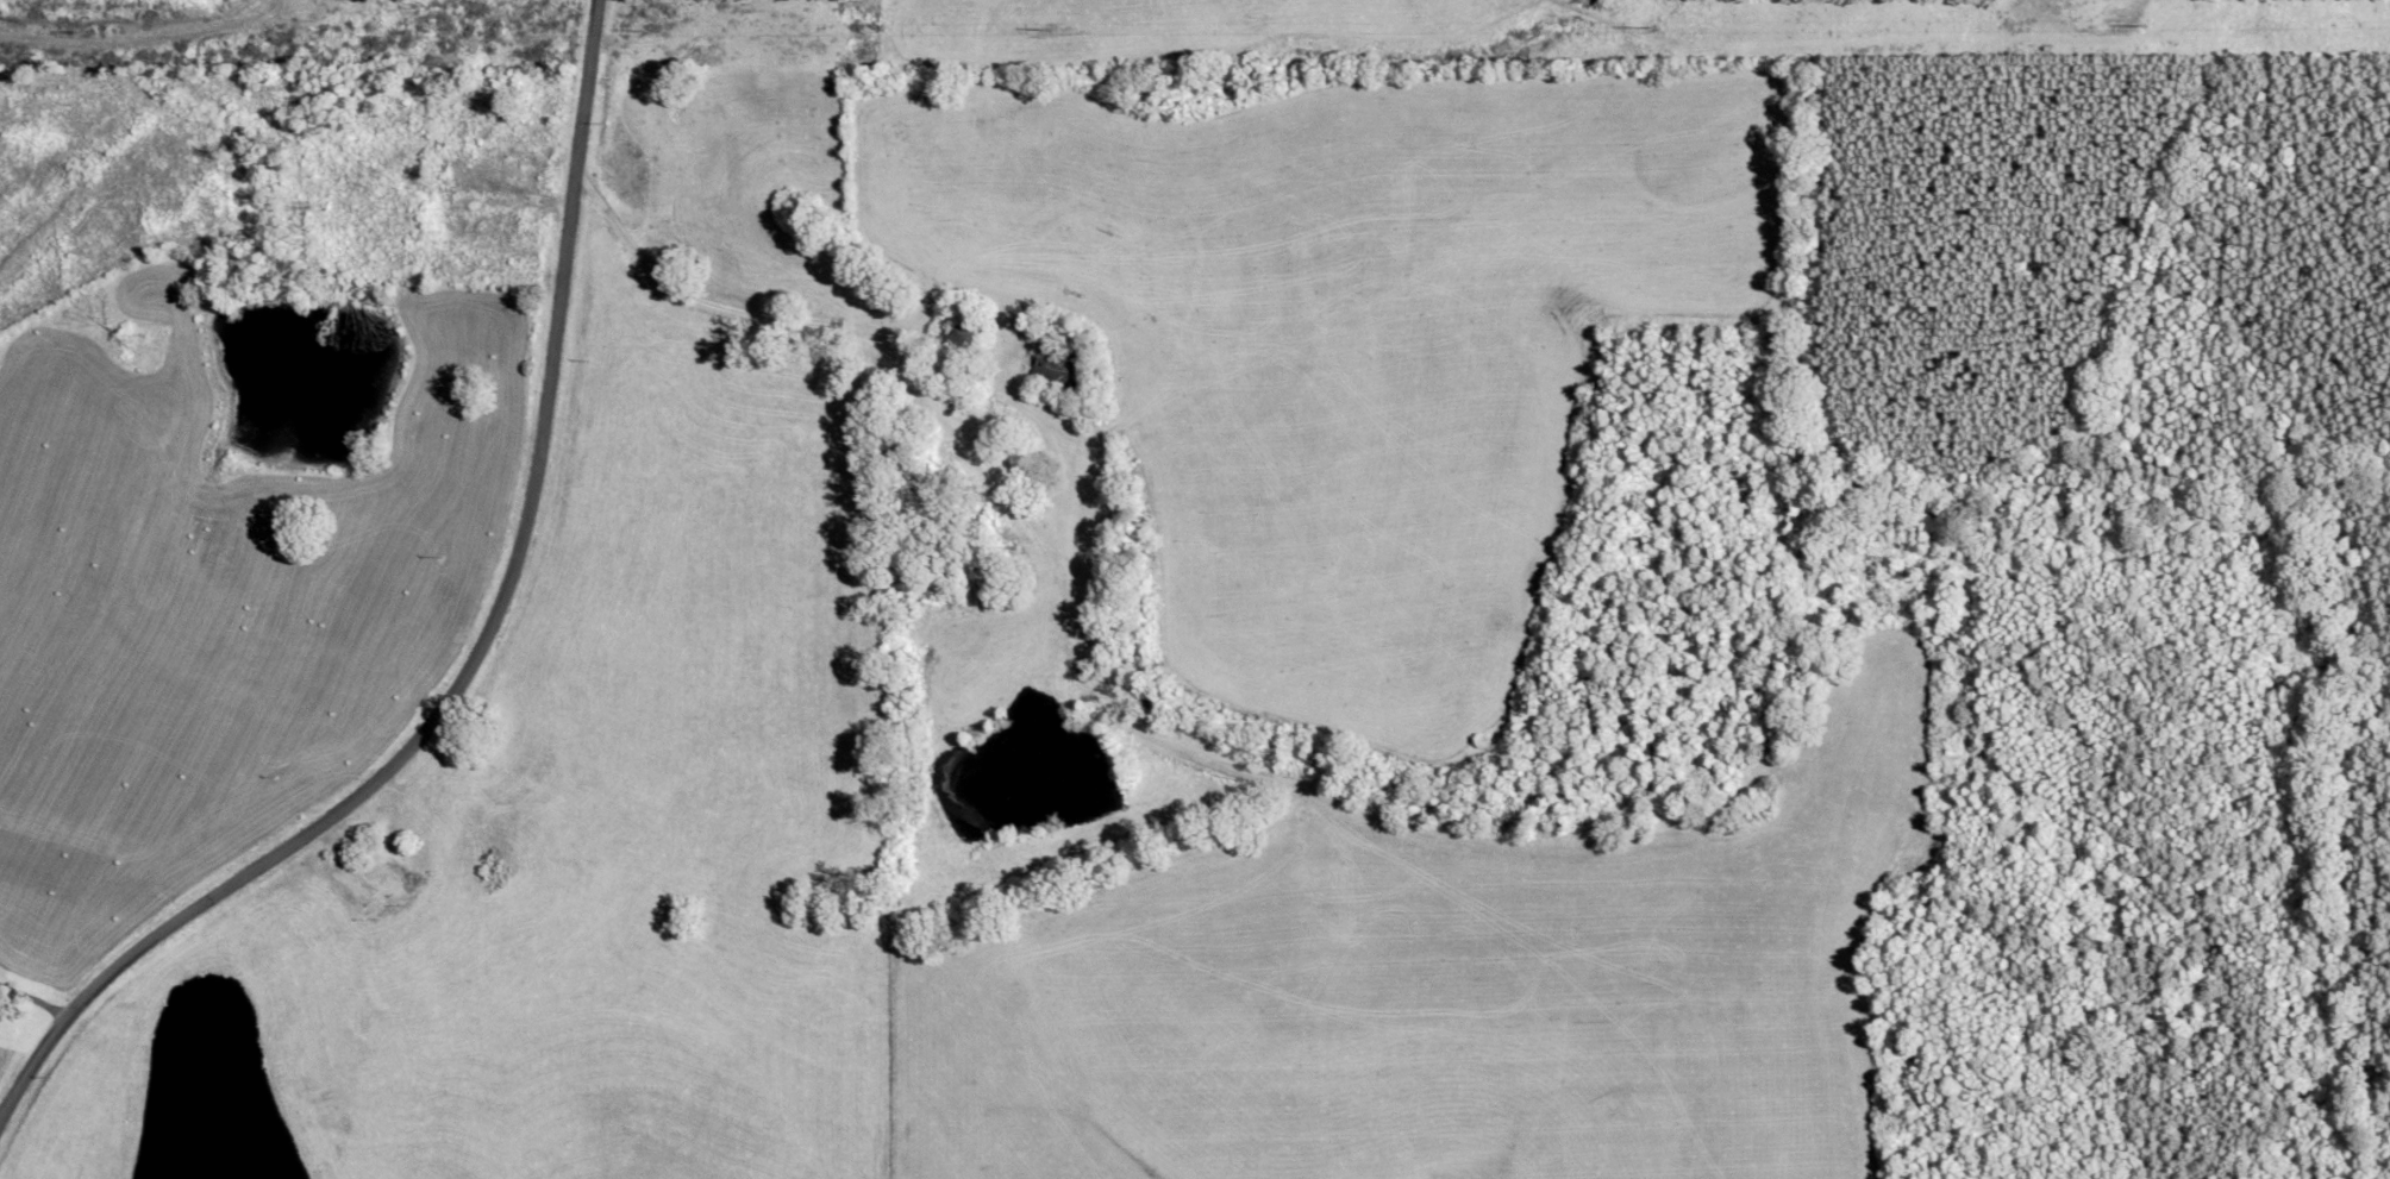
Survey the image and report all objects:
building: (956, 334)
building: (1056, 364)
road: (471, 656)
building: (395, 873)

